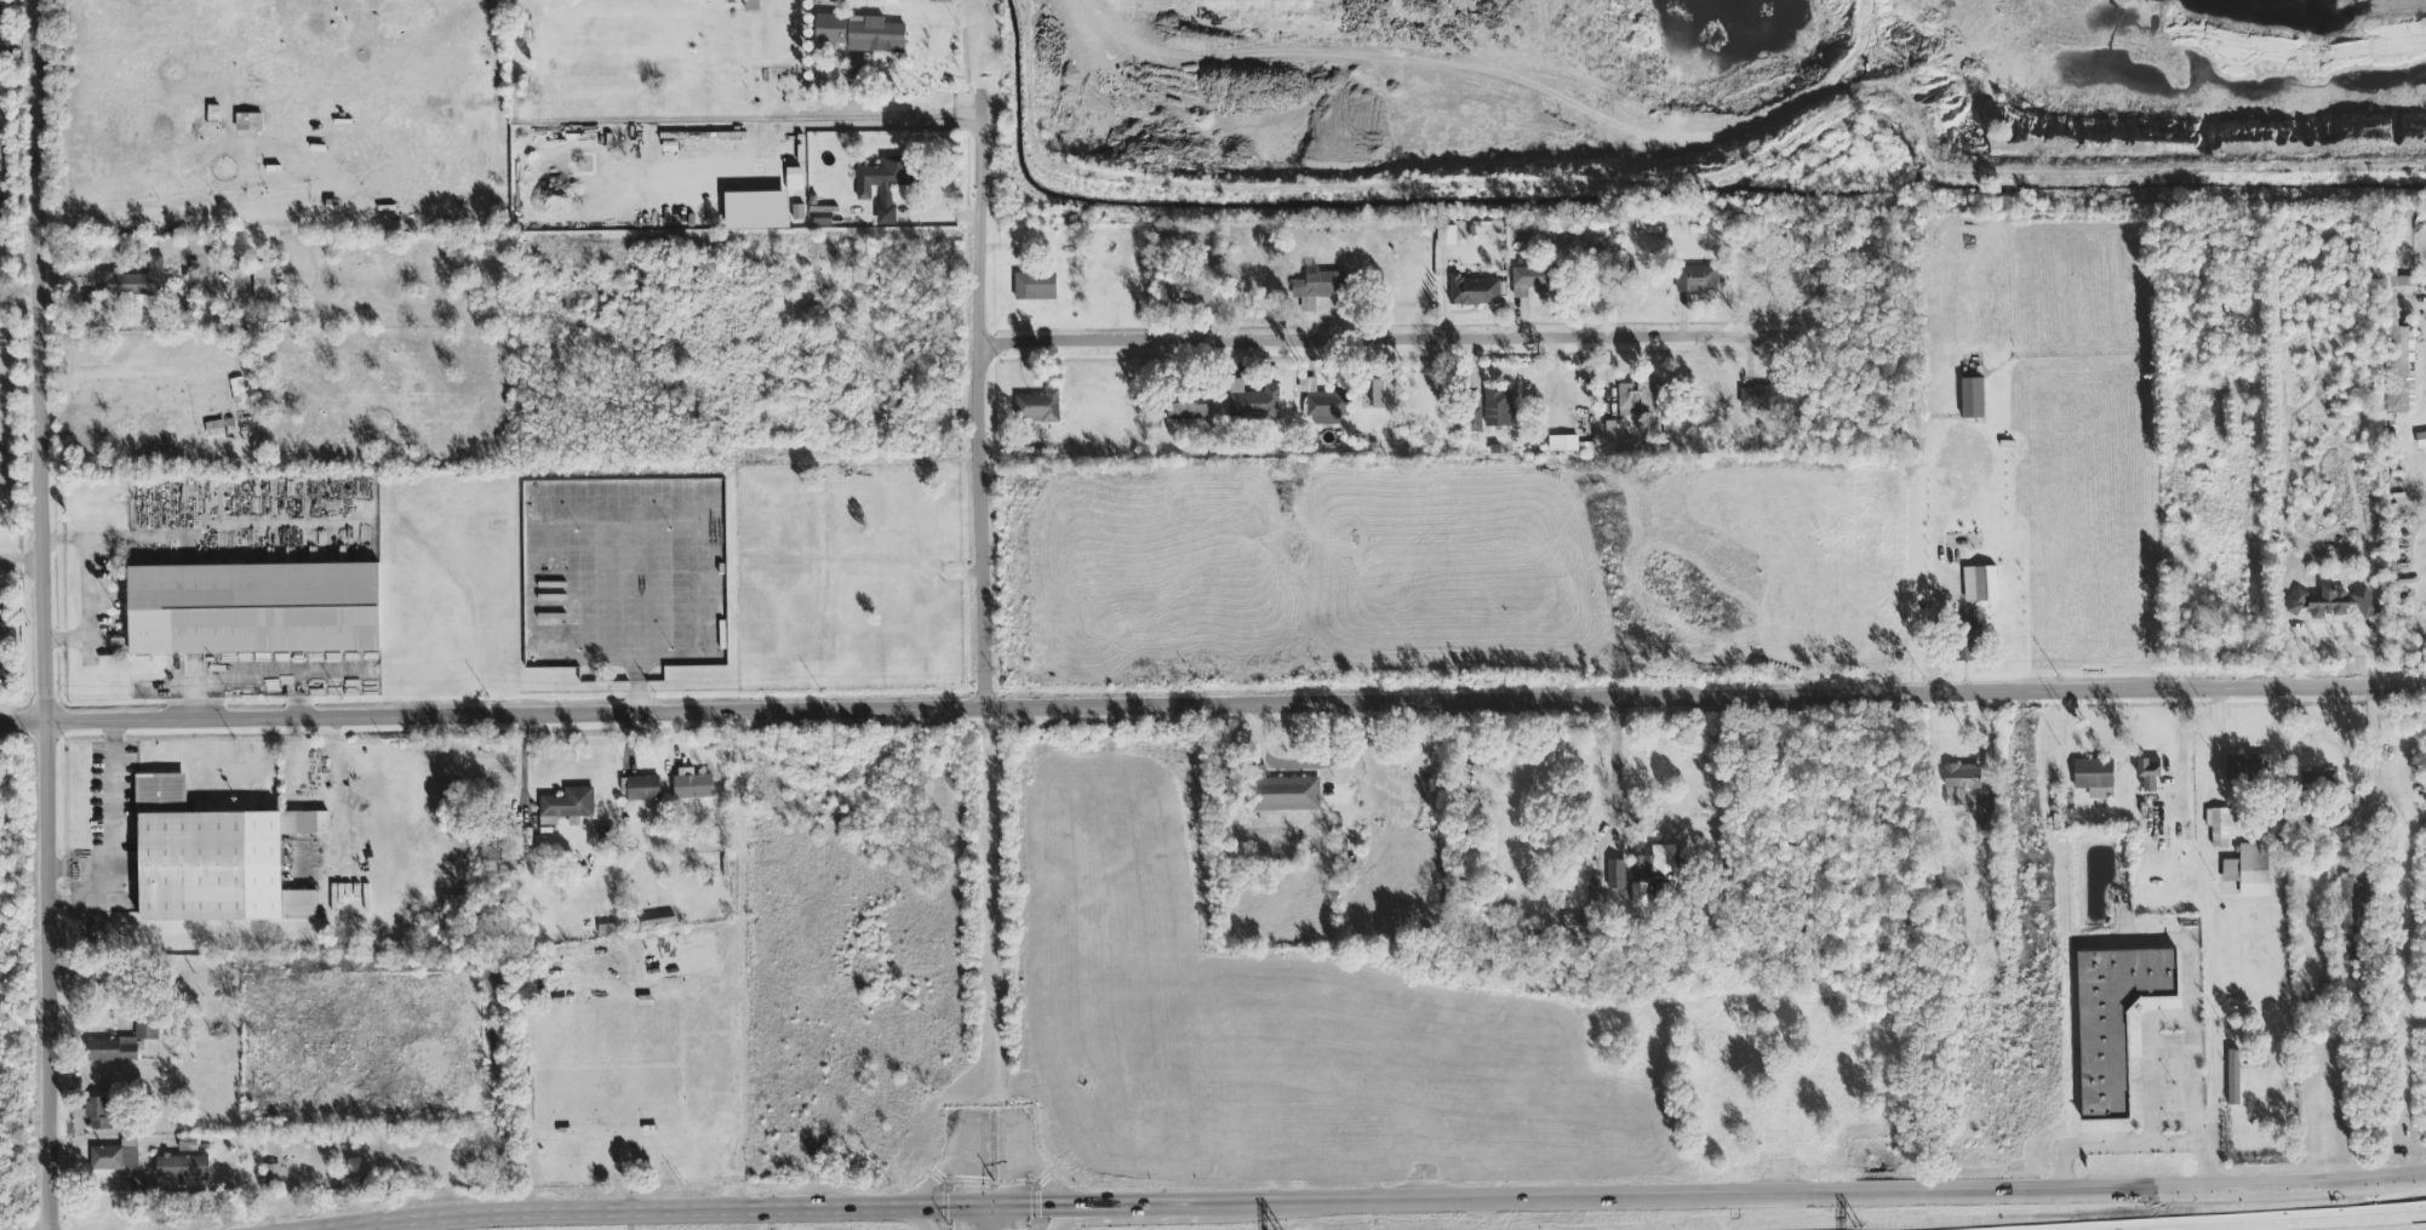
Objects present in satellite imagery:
building: (830, 30)
building: (876, 36)
road: (923, 116)
building: (248, 124)
building: (891, 177)
building: (794, 183)
road: (162, 212)
building: (757, 212)
building: (0, 217)
building: (1446, 236)
building: (1695, 280)
building: (135, 282)
building: (2420, 282)
building: (269, 284)
building: (1522, 284)
building: (1318, 286)
building: (1175, 290)
building: (1475, 292)
building: (1040, 293)
road: (1368, 341)
building: (2396, 347)
building: (1384, 394)
building: (1767, 396)
building: (1637, 397)
building: (1972, 399)
road: (984, 401)
building: (1252, 404)
building: (1188, 406)
building: (1498, 408)
building: (1037, 410)
building: (1326, 410)
building: (1472, 414)
building: (1564, 445)
road: (23, 566)
road: (1939, 578)
building: (2342, 602)
building: (254, 610)
road: (47, 614)
building: (1966, 648)
road: (1213, 703)
building: (2247, 770)
road: (2373, 771)
road: (1615, 774)
building: (2149, 774)
building: (2094, 777)
building: (1413, 778)
building: (1962, 778)
building: (2318, 783)
building: (693, 786)
building: (643, 789)
building: (1283, 795)
building: (2351, 802)
building: (568, 805)
road: (114, 824)
building: (2218, 828)
building: (195, 859)
building: (2249, 870)
building: (1615, 875)
building: (1657, 877)
building: (2352, 902)
road: (2212, 920)
building: (1584, 926)
building: (2351, 951)
road: (2188, 1001)
building: (2113, 1023)
building: (122, 1045)
road: (2149, 1069)
building: (2233, 1079)
building: (101, 1115)
building: (188, 1144)
road: (2130, 1156)
building: (107, 1159)
building: (183, 1167)
building: (273, 1178)
road: (1813, 1203)
traffic signals: (1039, 1206)
road: (1145, 1207)
road: (744, 1214)
road: (1009, 1218)
road: (1074, 1218)
road: (912, 1219)
road: (961, 1219)
road: (2295, 1222)

